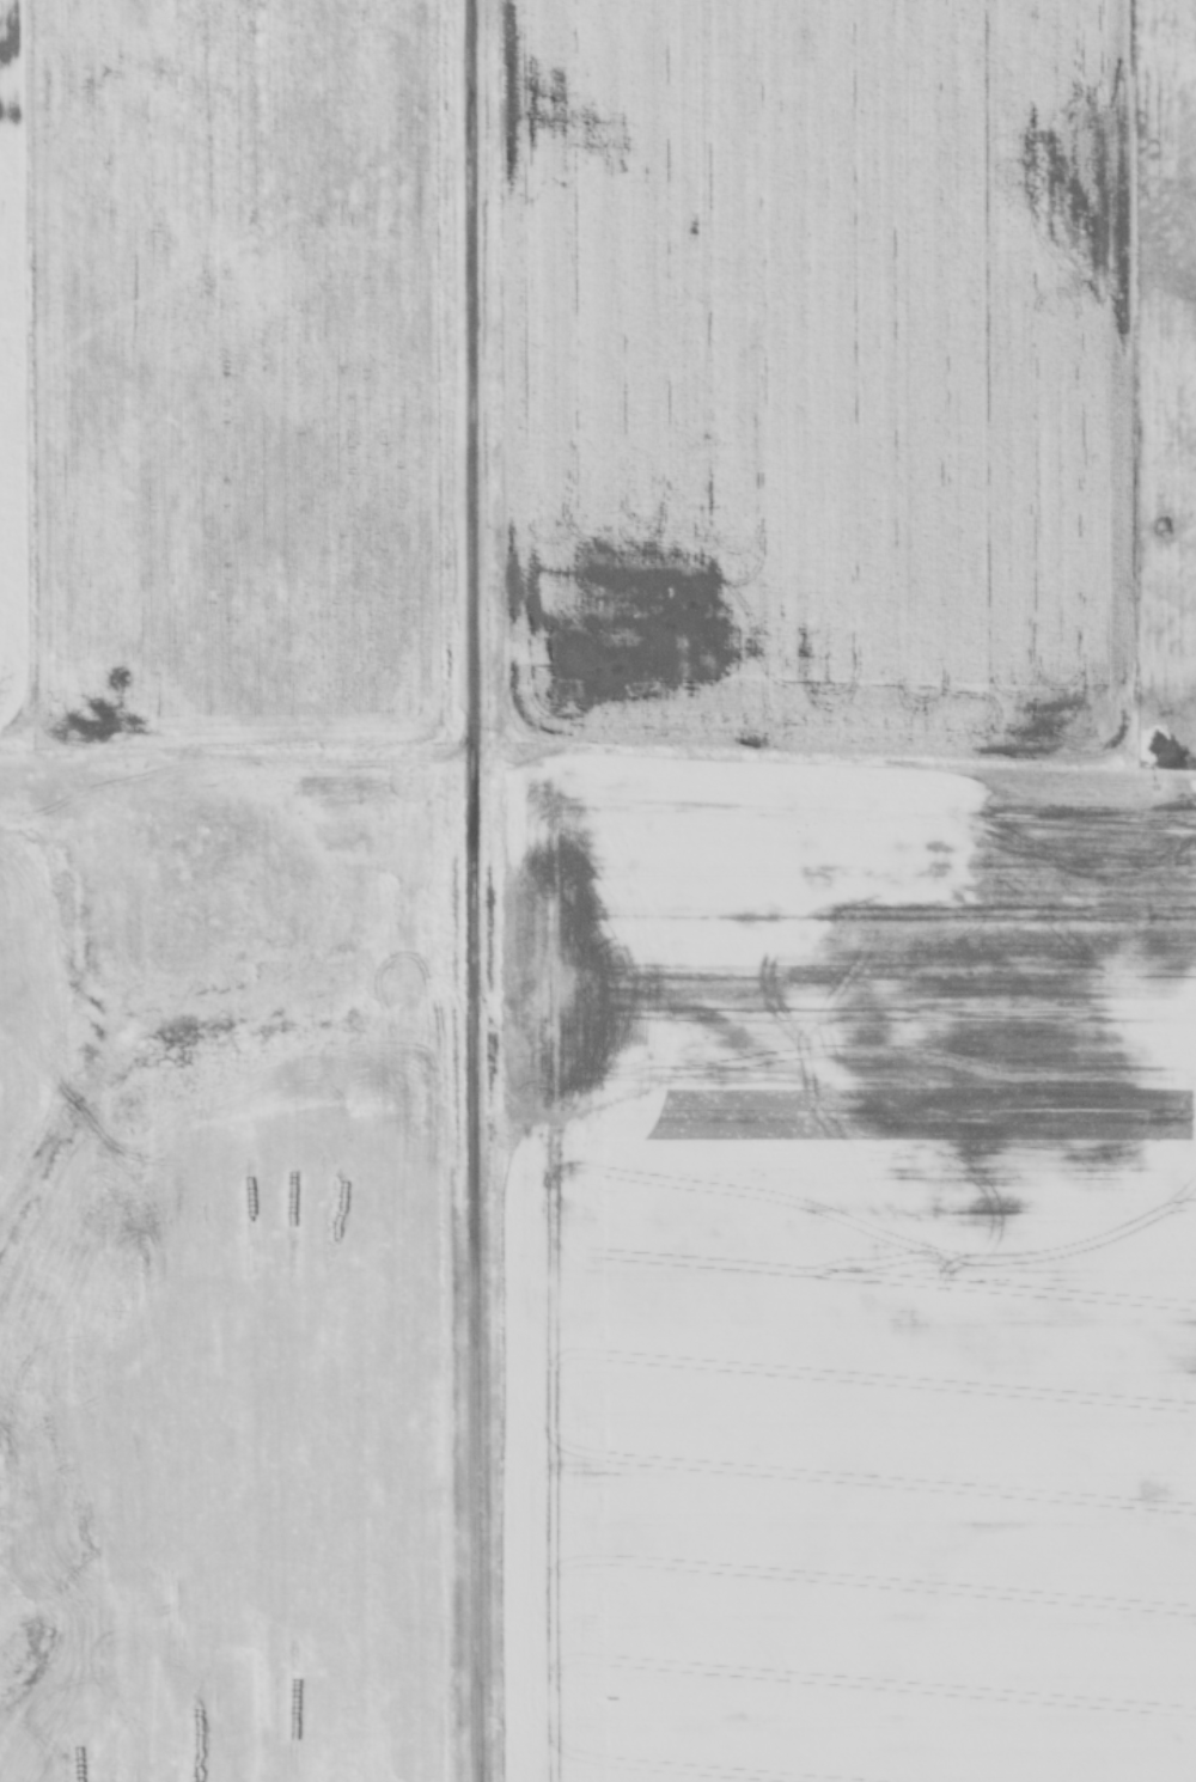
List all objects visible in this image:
road: (474, 891)

